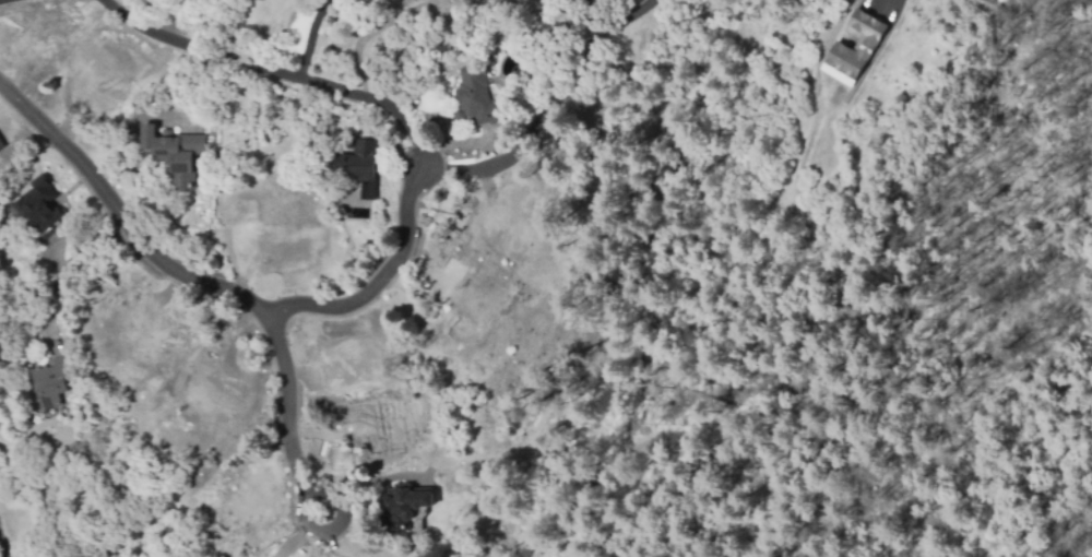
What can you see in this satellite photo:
road: (1, 0)
road: (619, 20)
building: (853, 46)
road: (274, 71)
building: (476, 96)
road: (534, 123)
building: (0, 145)
building: (175, 153)
building: (361, 165)
building: (38, 204)
road: (67, 273)
road: (378, 278)
road: (209, 286)
building: (51, 381)
building: (403, 508)

